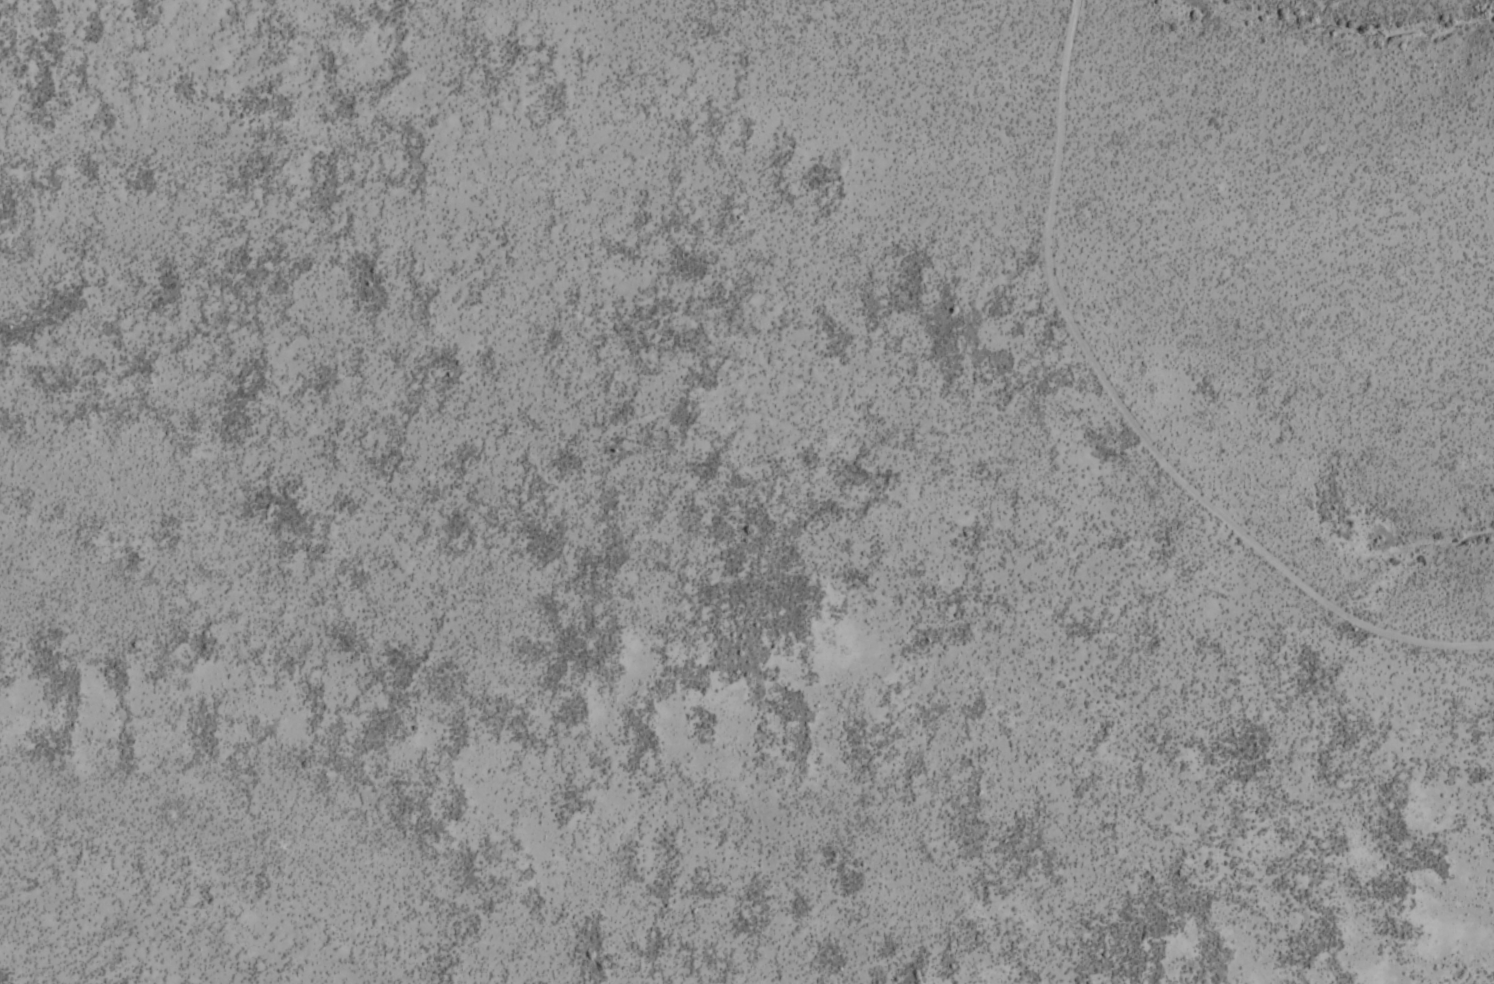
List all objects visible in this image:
road: (1128, 422)

